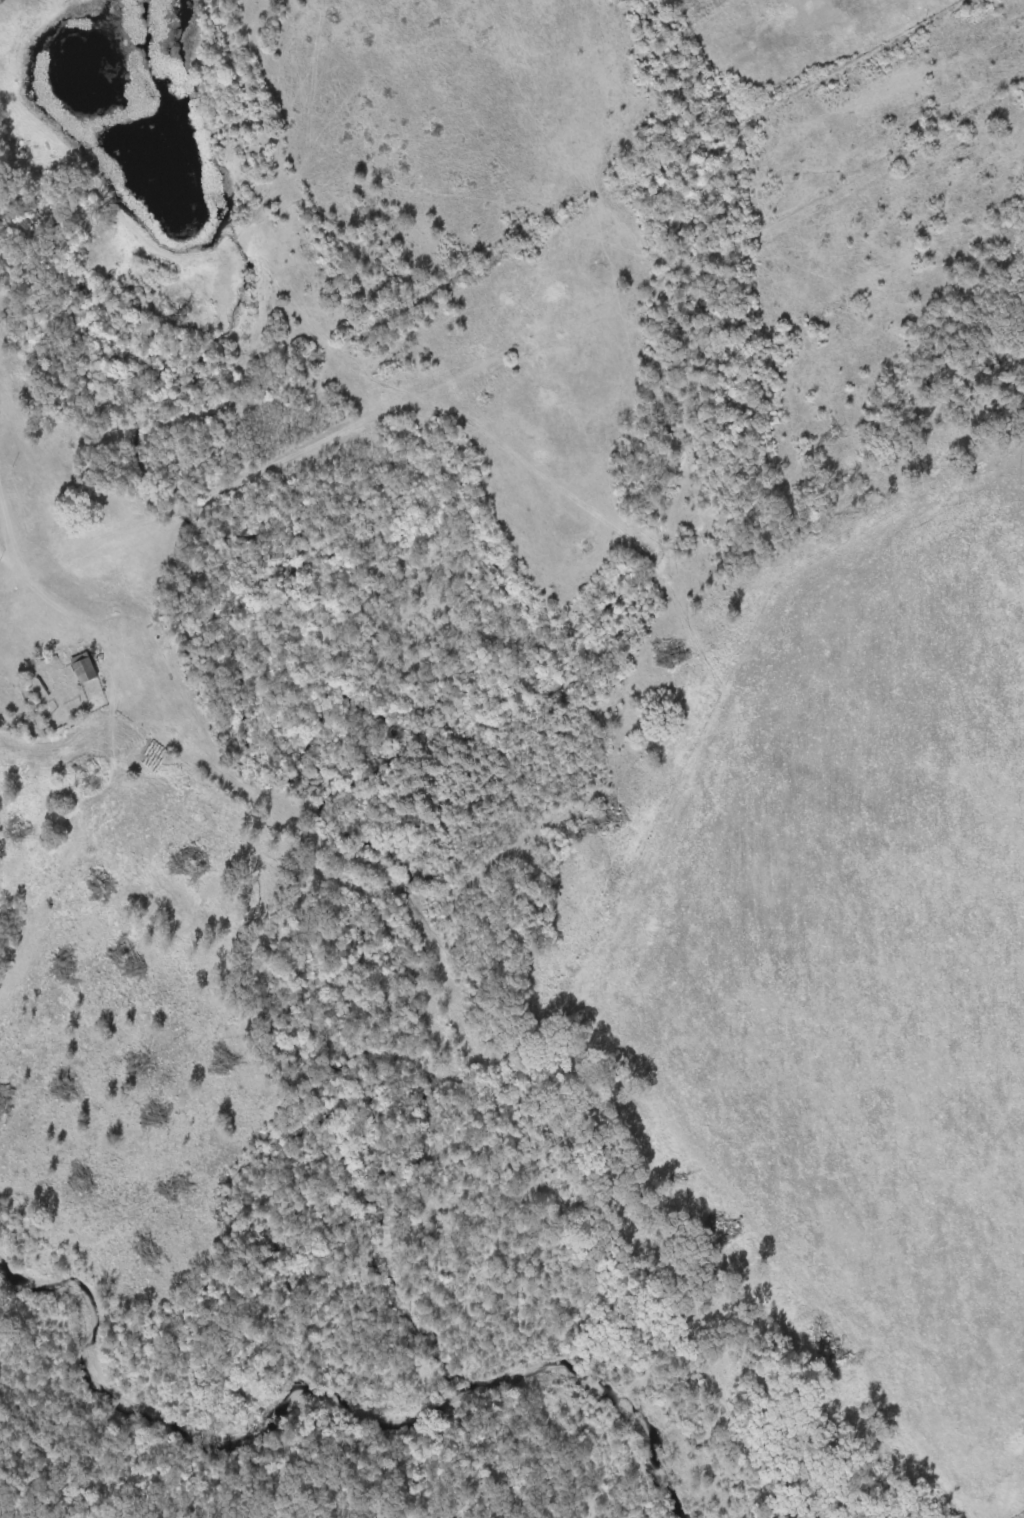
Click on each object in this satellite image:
building: (85, 669)

